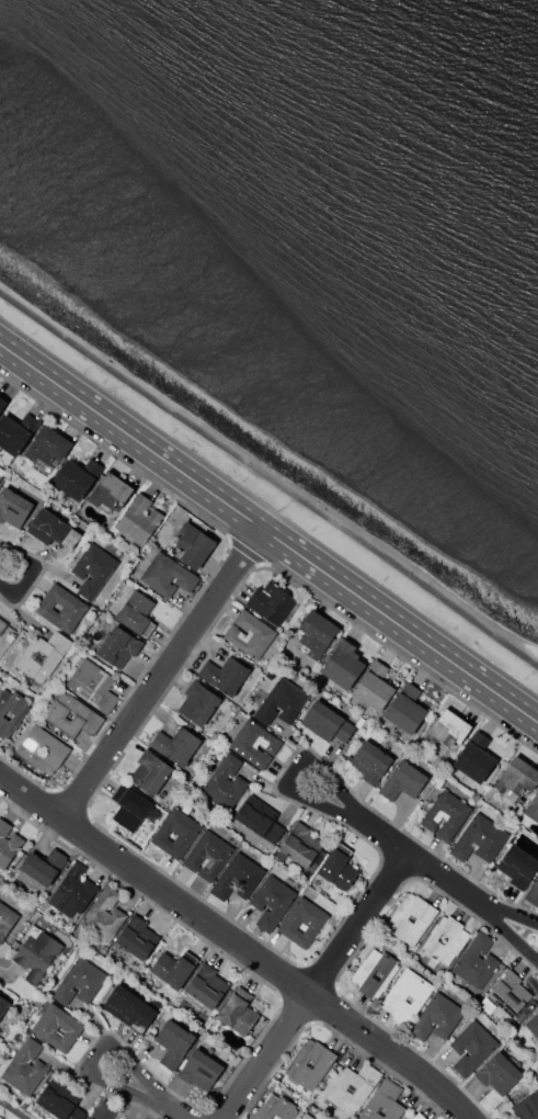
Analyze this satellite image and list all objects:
building: (2, 404)
building: (16, 433)
building: (47, 448)
building: (2, 472)
building: (77, 478)
building: (112, 493)
building: (14, 508)
building: (139, 519)
building: (53, 530)
road: (268, 533)
building: (193, 545)
road: (243, 551)
building: (92, 569)
road: (39, 572)
road: (28, 574)
building: (167, 575)
road: (207, 577)
building: (270, 601)
building: (61, 608)
building: (137, 613)
building: (2, 625)
building: (316, 633)
building: (249, 634)
building: (117, 646)
building: (43, 655)
building: (342, 664)
road: (160, 674)
building: (225, 675)
building: (0, 681)
building: (93, 685)
building: (373, 687)
building: (282, 702)
building: (197, 704)
building: (407, 709)
building: (11, 711)
building: (72, 714)
building: (327, 722)
building: (449, 728)
building: (254, 744)
building: (175, 745)
building: (42, 749)
building: (474, 759)
building: (369, 761)
building: (149, 772)
road: (294, 772)
building: (517, 777)
building: (403, 781)
building: (225, 783)
road: (69, 801)
building: (133, 807)
building: (533, 809)
building: (445, 814)
building: (256, 818)
building: (175, 833)
building: (479, 839)
building: (8, 844)
building: (297, 845)
building: (208, 855)
road: (422, 863)
building: (43, 864)
building: (517, 866)
building: (339, 867)
road: (393, 867)
building: (239, 877)
road: (178, 882)
building: (72, 891)
building: (533, 893)
building: (272, 902)
building: (103, 916)
road: (494, 916)
building: (411, 918)
building: (5, 919)
road: (355, 920)
building: (302, 922)
building: (137, 937)
building: (445, 939)
road: (237, 943)
road: (356, 947)
building: (36, 952)
building: (476, 961)
building: (173, 968)
building: (375, 973)
building: (80, 982)
building: (206, 985)
road: (334, 986)
building: (508, 993)
building: (407, 996)
building: (3, 1005)
building: (129, 1008)
building: (237, 1011)
building: (437, 1017)
building: (533, 1025)
building: (57, 1027)
road: (262, 1029)
road: (332, 1029)
building: (173, 1043)
building: (471, 1047)
road: (93, 1052)
road: (265, 1055)
building: (310, 1063)
building: (24, 1067)
building: (199, 1069)
building: (499, 1073)
building: (352, 1088)
building: (384, 1103)
building: (64, 1104)
building: (527, 1106)
building: (275, 1108)
road: (11, 1110)
park: (12, 1110)
road: (179, 1112)
road: (213, 1114)
building: (306, 1116)
building: (419, 1116)
building: (90, 1118)

